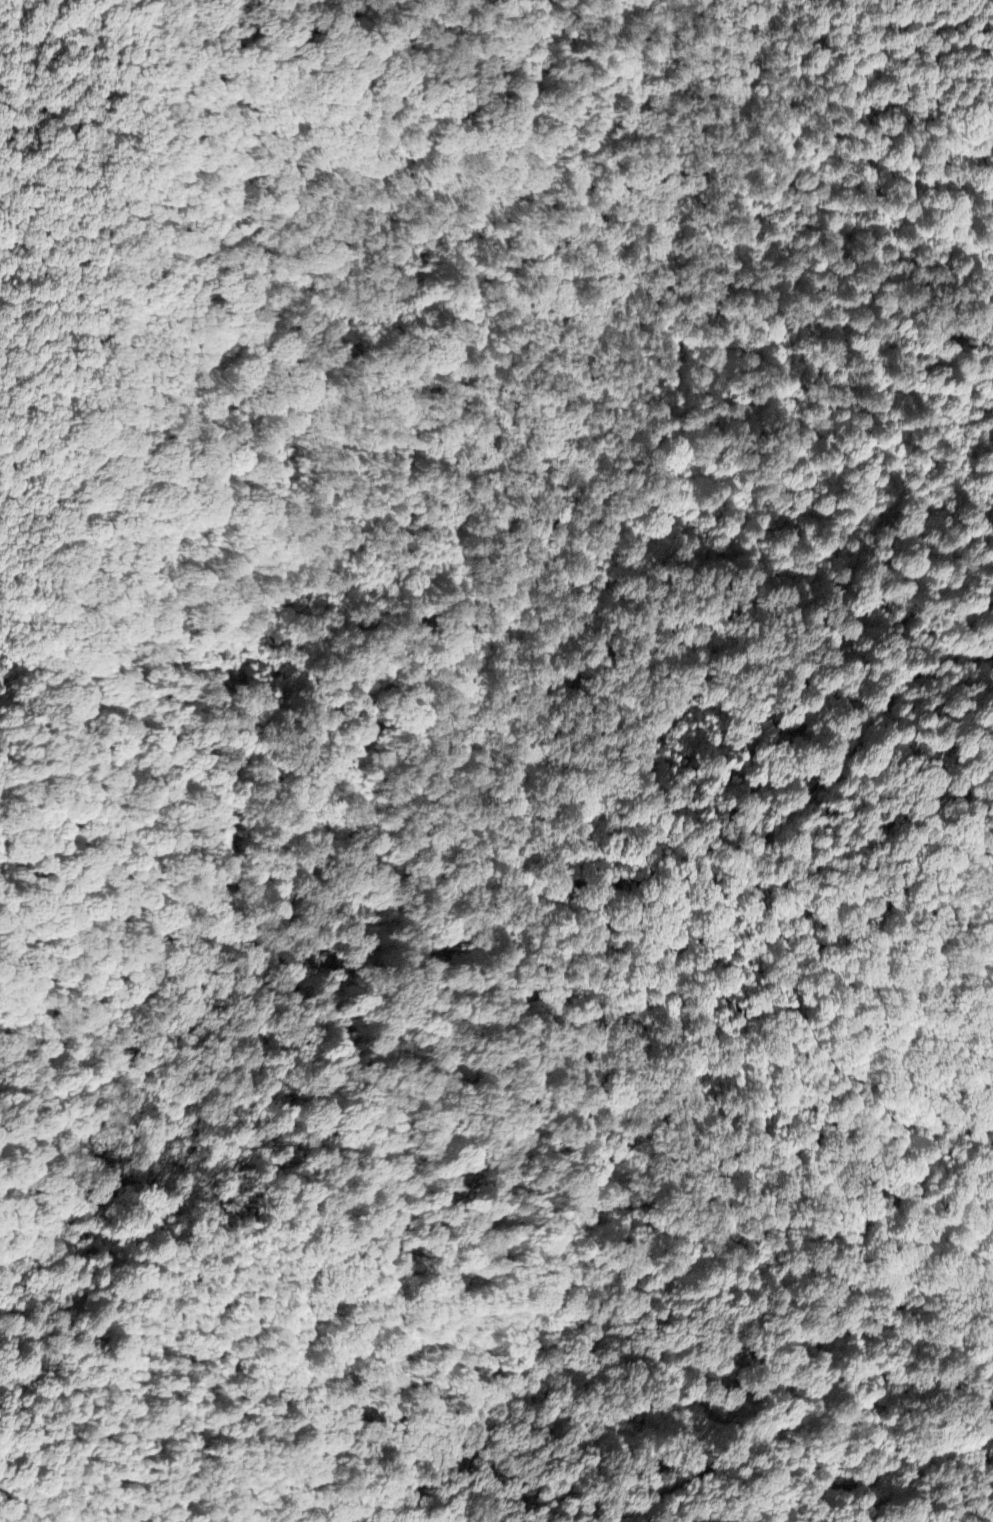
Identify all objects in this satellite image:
road: (7, 78)
road: (39, 276)
road: (19, 495)
road: (23, 819)
road: (788, 950)
road: (22, 1177)
road: (136, 1300)
road: (799, 1460)
road: (18, 1504)

